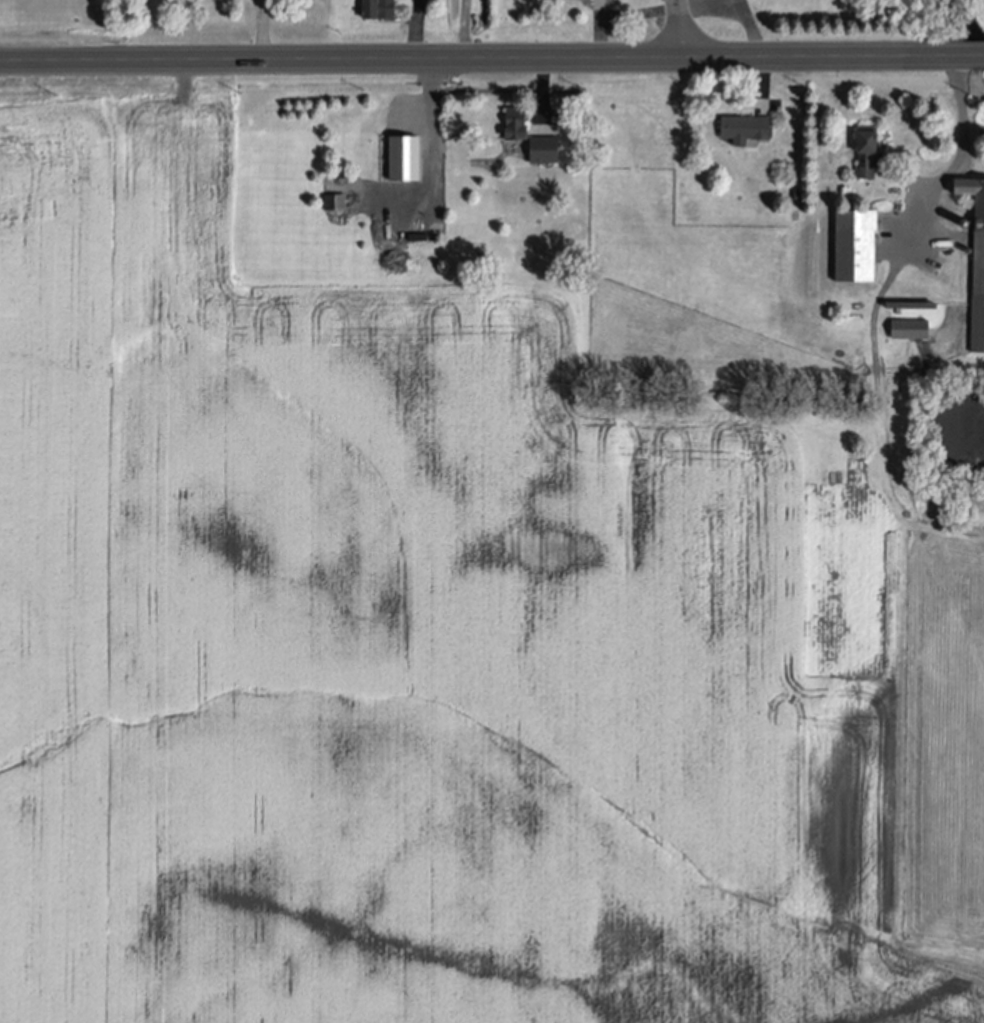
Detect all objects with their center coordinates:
building: (598, 6)
building: (379, 7)
road: (682, 26)
road: (458, 27)
road: (492, 53)
building: (418, 120)
building: (516, 121)
building: (746, 126)
building: (544, 147)
building: (400, 150)
building: (868, 150)
road: (967, 156)
road: (434, 158)
building: (411, 170)
building: (418, 236)
building: (856, 242)
building: (976, 255)
building: (911, 302)
building: (910, 327)
crop: (370, 640)

